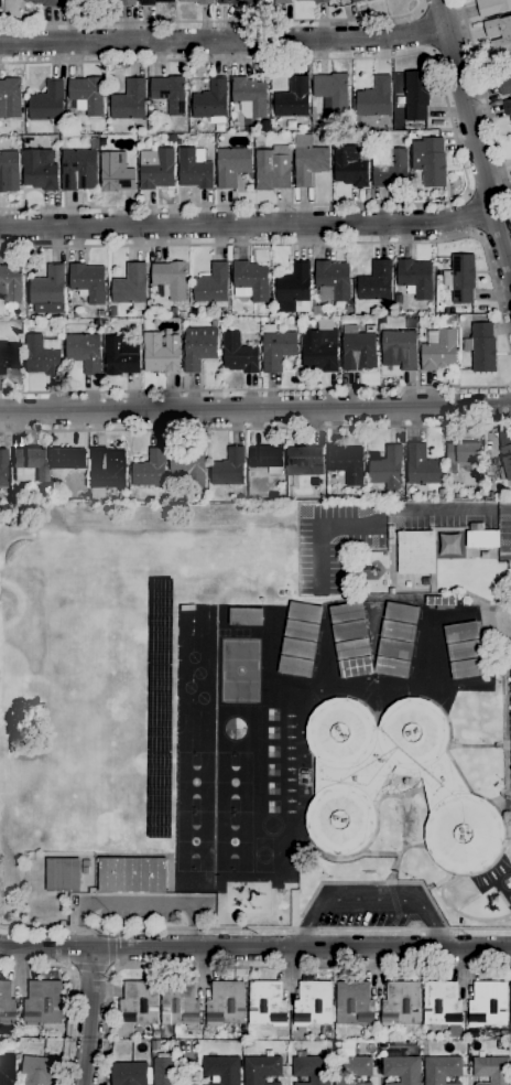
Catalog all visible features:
building: (312, 0)
building: (369, 0)
building: (153, 1)
building: (199, 1)
building: (233, 1)
building: (282, 1)
building: (322, 1)
building: (355, 1)
building: (45, 2)
building: (69, 2)
building: (126, 2)
building: (0, 3)
building: (492, 7)
road: (214, 21)
road: (424, 31)
building: (499, 33)
road: (224, 40)
building: (509, 63)
building: (504, 85)
building: (333, 89)
building: (170, 93)
building: (87, 94)
building: (250, 95)
building: (416, 95)
building: (10, 97)
building: (374, 97)
building: (293, 98)
building: (129, 99)
building: (211, 99)
road: (485, 100)
building: (47, 103)
building: (507, 107)
building: (336, 135)
building: (324, 137)
road: (475, 138)
road: (455, 139)
building: (95, 143)
building: (308, 159)
building: (430, 160)
building: (232, 164)
building: (351, 164)
building: (389, 164)
building: (156, 168)
building: (195, 168)
building: (79, 170)
building: (272, 170)
building: (9, 171)
building: (39, 171)
building: (116, 172)
road: (470, 213)
road: (247, 224)
road: (300, 243)
building: (415, 277)
building: (460, 278)
building: (171, 279)
building: (250, 280)
building: (333, 280)
building: (11, 281)
building: (88, 281)
building: (213, 284)
building: (377, 284)
building: (131, 286)
building: (294, 289)
building: (47, 291)
building: (313, 302)
building: (317, 309)
building: (348, 309)
building: (194, 310)
building: (112, 311)
building: (100, 312)
building: (183, 314)
building: (295, 318)
building: (262, 319)
building: (452, 321)
building: (214, 322)
building: (370, 327)
building: (481, 346)
building: (276, 347)
building: (358, 348)
building: (400, 348)
building: (438, 350)
building: (85, 351)
building: (198, 351)
building: (319, 351)
building: (162, 353)
building: (239, 353)
building: (43, 354)
building: (9, 355)
building: (121, 355)
road: (255, 388)
road: (255, 408)
road: (255, 429)
building: (461, 453)
building: (68, 458)
building: (267, 458)
building: (303, 460)
building: (346, 462)
building: (505, 462)
building: (29, 464)
building: (188, 464)
building: (3, 468)
building: (229, 468)
building: (422, 468)
building: (150, 469)
building: (388, 469)
building: (106, 471)
building: (498, 473)
building: (40, 496)
road: (455, 509)
road: (503, 511)
building: (472, 526)
building: (390, 531)
building: (482, 538)
building: (415, 552)
building: (485, 554)
building: (441, 601)
building: (304, 611)
building: (346, 611)
building: (401, 612)
building: (246, 615)
building: (301, 629)
building: (349, 630)
building: (398, 631)
building: (461, 632)
building: (298, 648)
building: (352, 648)
building: (394, 648)
building: (465, 649)
building: (295, 666)
building: (356, 666)
building: (391, 666)
building: (467, 668)
building: (159, 708)
park: (193, 781)
park: (231, 782)
building: (348, 785)
park: (193, 840)
park: (231, 840)
park: (261, 853)
building: (84, 870)
building: (131, 873)
flagpole: (403, 873)
building: (63, 874)
road: (369, 901)
road: (135, 902)
road: (254, 927)
road: (109, 947)
road: (255, 947)
road: (253, 965)
road: (90, 968)
road: (70, 992)
building: (43, 1002)
building: (180, 1002)
building: (354, 1002)
building: (510, 1002)
building: (7, 1003)
building: (226, 1003)
building: (267, 1003)
building: (313, 1003)
building: (401, 1003)
building: (442, 1003)
building: (488, 1003)
building: (137, 1006)
road: (88, 1016)
building: (325, 1030)
building: (503, 1032)
building: (7, 1068)
building: (163, 1068)
building: (221, 1068)
building: (311, 1068)
building: (402, 1068)
building: (40, 1070)
building: (261, 1070)
building: (351, 1070)
building: (442, 1070)
building: (492, 1070)
building: (131, 1073)

